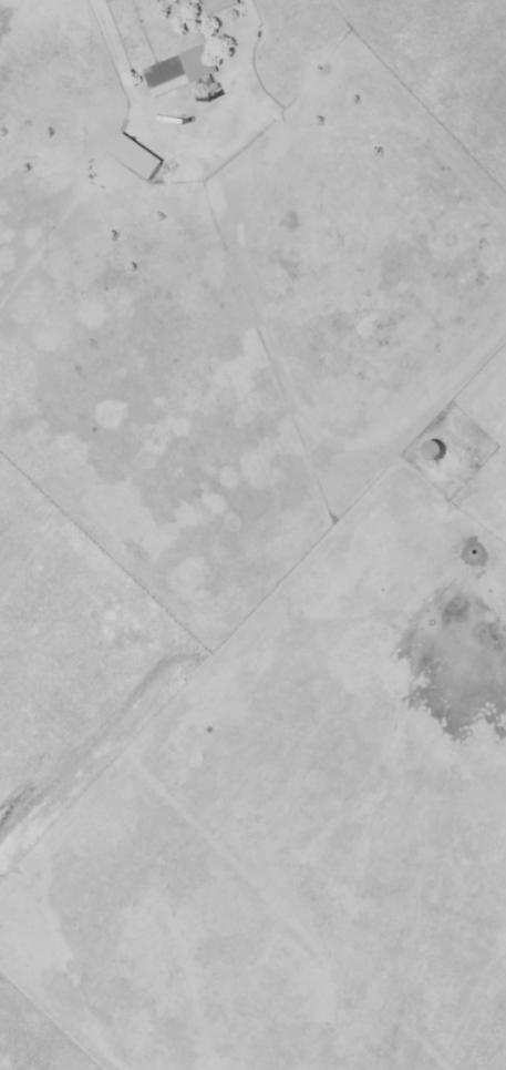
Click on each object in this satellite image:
building: (220, 7)
road: (121, 74)
building: (182, 75)
building: (142, 157)

